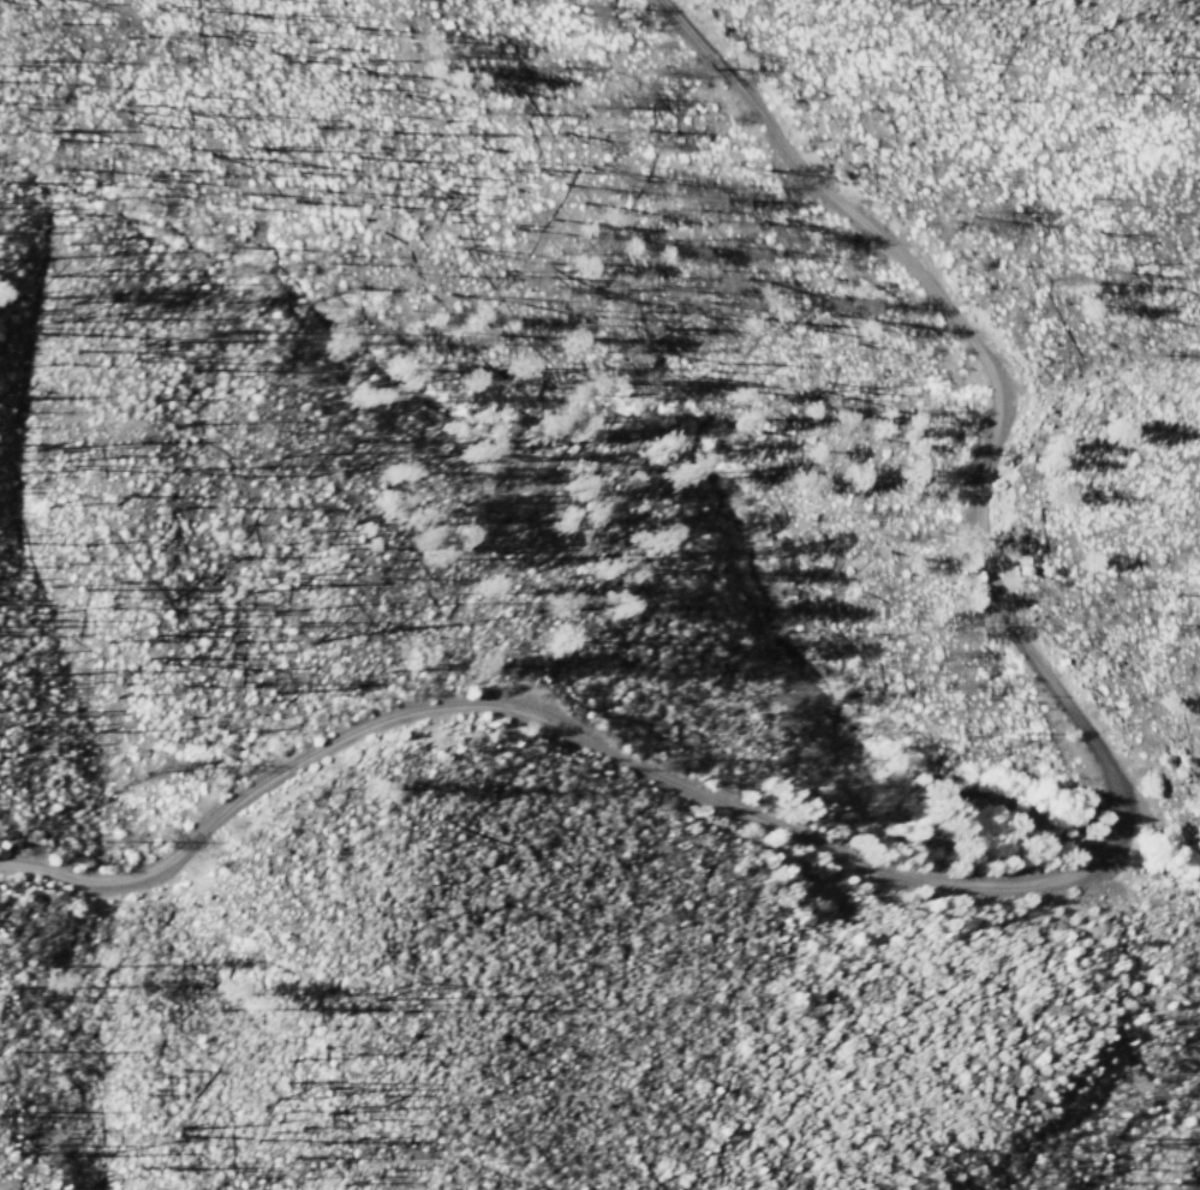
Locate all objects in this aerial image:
road: (1045, 869)

